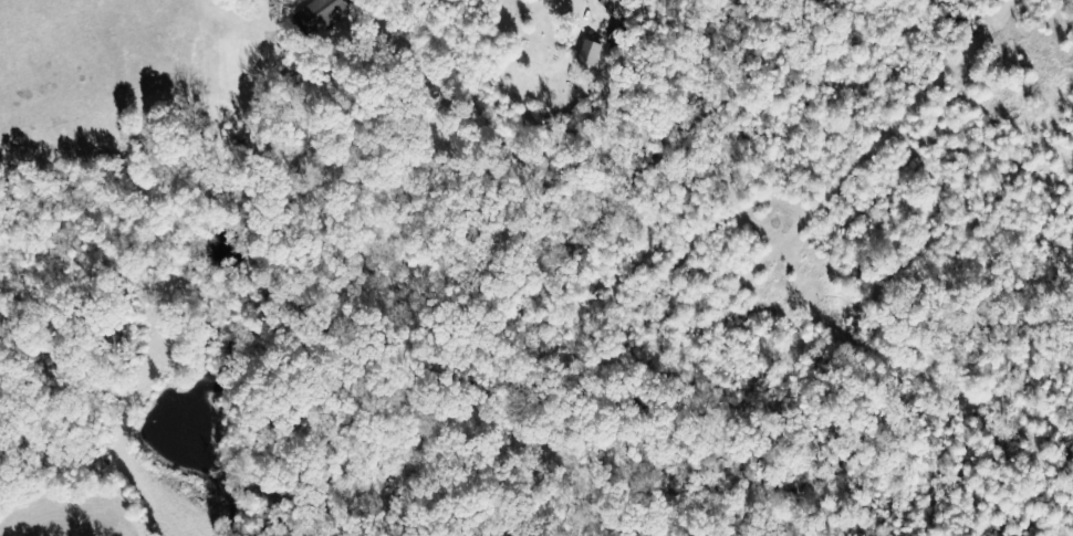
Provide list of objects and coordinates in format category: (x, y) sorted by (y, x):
building: (324, 13)

